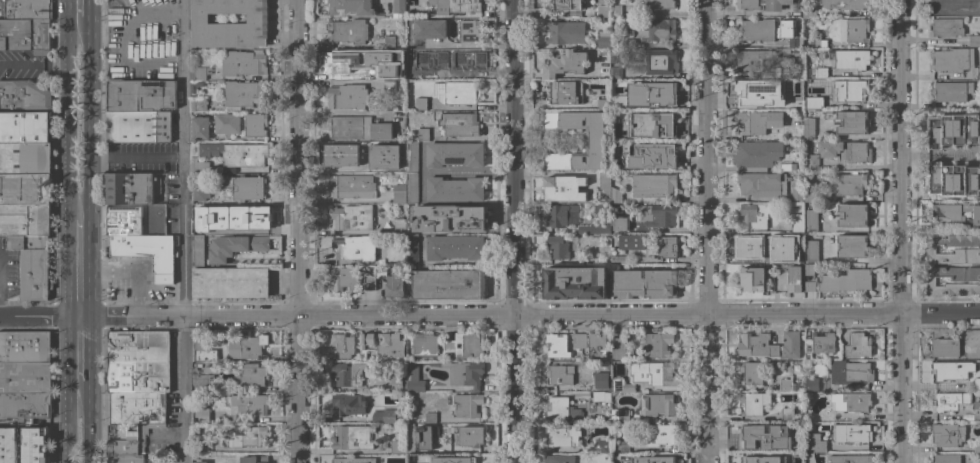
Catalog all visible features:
building: (565, 4)
building: (659, 4)
building: (749, 4)
building: (776, 4)
building: (847, 4)
building: (464, 5)
building: (352, 6)
building: (398, 7)
building: (437, 7)
building: (26, 9)
building: (809, 9)
building: (614, 10)
building: (603, 11)
road: (80, 12)
building: (230, 23)
building: (946, 27)
building: (430, 28)
building: (660, 29)
building: (758, 29)
building: (786, 29)
building: (348, 30)
building: (854, 30)
building: (471, 31)
building: (566, 32)
building: (24, 34)
building: (604, 38)
building: (974, 40)
building: (390, 41)
building: (630, 41)
building: (817, 42)
road: (472, 44)
building: (783, 49)
building: (364, 57)
building: (614, 57)
building: (752, 59)
building: (852, 59)
building: (952, 59)
building: (660, 61)
building: (243, 62)
building: (340, 62)
building: (459, 62)
road: (34, 63)
building: (565, 63)
building: (389, 68)
building: (790, 70)
building: (616, 71)
building: (978, 71)
building: (199, 72)
building: (412, 72)
building: (821, 72)
building: (195, 84)
building: (389, 85)
building: (851, 89)
building: (951, 90)
building: (438, 91)
building: (566, 91)
building: (759, 91)
building: (461, 92)
building: (243, 93)
building: (650, 93)
building: (139, 95)
building: (24, 96)
building: (348, 96)
building: (796, 101)
building: (814, 101)
building: (421, 102)
building: (199, 103)
building: (603, 103)
road: (90, 117)
road: (68, 118)
building: (760, 121)
building: (849, 121)
building: (227, 123)
building: (256, 123)
building: (459, 123)
building: (649, 124)
building: (138, 125)
building: (25, 126)
building: (200, 127)
building: (358, 127)
building: (809, 128)
building: (423, 133)
building: (596, 139)
building: (846, 150)
building: (455, 153)
building: (978, 153)
building: (341, 154)
building: (757, 154)
building: (228, 155)
building: (649, 155)
building: (385, 156)
building: (412, 156)
building: (25, 157)
road: (136, 160)
building: (812, 161)
building: (785, 166)
road: (339, 168)
building: (762, 183)
building: (655, 184)
building: (849, 184)
building: (352, 185)
building: (604, 185)
building: (245, 186)
building: (132, 187)
building: (412, 187)
building: (564, 187)
building: (25, 188)
building: (455, 188)
building: (615, 191)
building: (200, 193)
building: (399, 193)
building: (797, 193)
building: (809, 195)
building: (967, 206)
building: (199, 210)
building: (602, 210)
building: (947, 212)
building: (560, 214)
building: (756, 214)
building: (854, 214)
building: (659, 215)
building: (353, 217)
building: (451, 217)
building: (974, 218)
building: (25, 219)
building: (244, 219)
building: (124, 220)
building: (812, 220)
building: (798, 222)
building: (620, 223)
building: (400, 225)
building: (594, 228)
road: (182, 231)
road: (299, 231)
road: (516, 231)
road: (711, 231)
road: (903, 231)
building: (631, 241)
road: (80, 243)
building: (235, 245)
building: (761, 245)
building: (853, 245)
building: (456, 246)
building: (558, 246)
building: (667, 246)
building: (355, 247)
building: (812, 247)
building: (953, 248)
building: (413, 249)
building: (198, 250)
building: (149, 252)
building: (797, 256)
building: (621, 258)
building: (32, 265)
building: (809, 269)
road: (124, 275)
building: (344, 277)
building: (753, 278)
building: (795, 278)
building: (396, 280)
building: (847, 280)
building: (953, 280)
building: (230, 281)
building: (576, 282)
building: (449, 283)
building: (644, 283)
building: (810, 285)
road: (79, 292)
road: (39, 313)
road: (108, 313)
road: (559, 314)
building: (579, 340)
building: (821, 342)
building: (383, 343)
building: (425, 343)
building: (791, 343)
building: (343, 344)
building: (467, 344)
building: (657, 344)
building: (757, 344)
building: (858, 344)
building: (247, 345)
building: (557, 345)
building: (597, 345)
building: (25, 346)
building: (945, 346)
building: (620, 348)
building: (203, 349)
road: (79, 352)
building: (137, 361)
building: (248, 364)
building: (954, 370)
building: (653, 372)
building: (752, 372)
building: (851, 372)
building: (347, 373)
building: (465, 373)
building: (561, 374)
building: (252, 375)
building: (25, 377)
building: (415, 379)
building: (202, 382)
building: (620, 382)
building: (398, 383)
building: (599, 383)
building: (788, 383)
building: (815, 383)
building: (600, 396)
building: (950, 401)
building: (249, 403)
building: (349, 403)
building: (752, 403)
building: (852, 403)
building: (467, 404)
building: (658, 404)
building: (25, 406)
building: (564, 406)
building: (138, 407)
building: (977, 410)
building: (787, 413)
building: (387, 415)
building: (623, 415)
building: (430, 417)
building: (202, 418)
road: (66, 425)
road: (90, 426)
building: (857, 432)
building: (948, 434)
building: (471, 435)
building: (660, 435)
building: (763, 435)
building: (247, 436)
building: (353, 436)
building: (424, 437)
building: (564, 438)
building: (129, 439)
building: (816, 442)
building: (35, 444)
building: (203, 444)
building: (8, 445)
building: (602, 445)
building: (399, 446)
building: (977, 447)
building: (617, 448)
building: (133, 458)
building: (560, 458)
building: (752, 458)
building: (851, 458)
building: (947, 458)
building: (255, 459)
building: (349, 459)
building: (451, 459)
building: (657, 459)
building: (200, 462)

